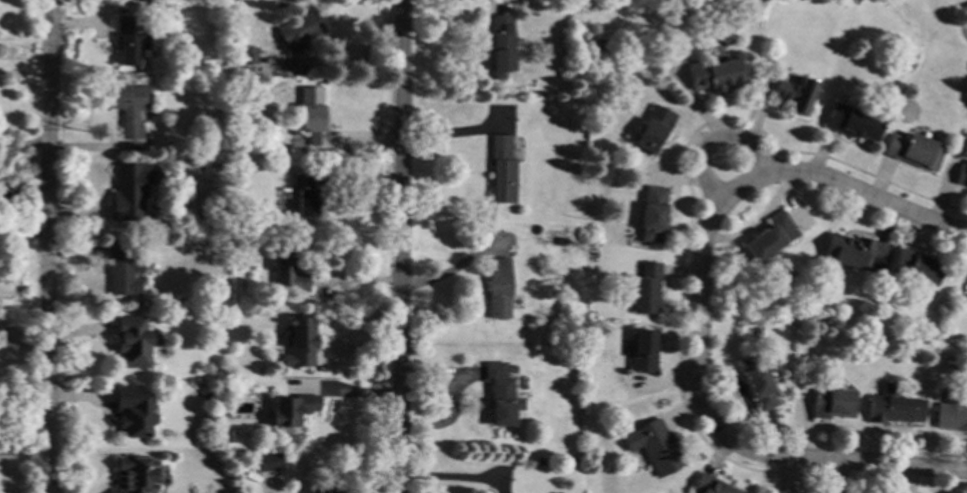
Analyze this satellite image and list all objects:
building: (220, 0)
building: (295, 31)
building: (724, 37)
building: (129, 39)
building: (501, 45)
building: (245, 54)
building: (713, 74)
building: (302, 77)
building: (224, 85)
building: (793, 94)
building: (129, 107)
building: (310, 115)
building: (850, 122)
building: (652, 129)
road: (454, 133)
road: (708, 145)
building: (912, 150)
building: (241, 163)
building: (501, 169)
building: (960, 175)
building: (128, 191)
building: (303, 195)
building: (651, 213)
building: (224, 234)
building: (769, 237)
building: (559, 241)
road: (49, 246)
road: (398, 246)
building: (846, 250)
building: (916, 266)
building: (122, 267)
building: (287, 271)
road: (449, 272)
building: (644, 288)
building: (497, 289)
road: (700, 315)
building: (132, 341)
building: (298, 341)
building: (640, 351)
building: (757, 382)
building: (500, 393)
building: (831, 402)
building: (891, 406)
building: (291, 409)
building: (132, 412)
building: (951, 415)
building: (226, 436)
building: (653, 446)
building: (267, 461)
building: (539, 461)
building: (136, 474)
road: (449, 479)
building: (709, 485)
building: (327, 490)
building: (783, 492)

